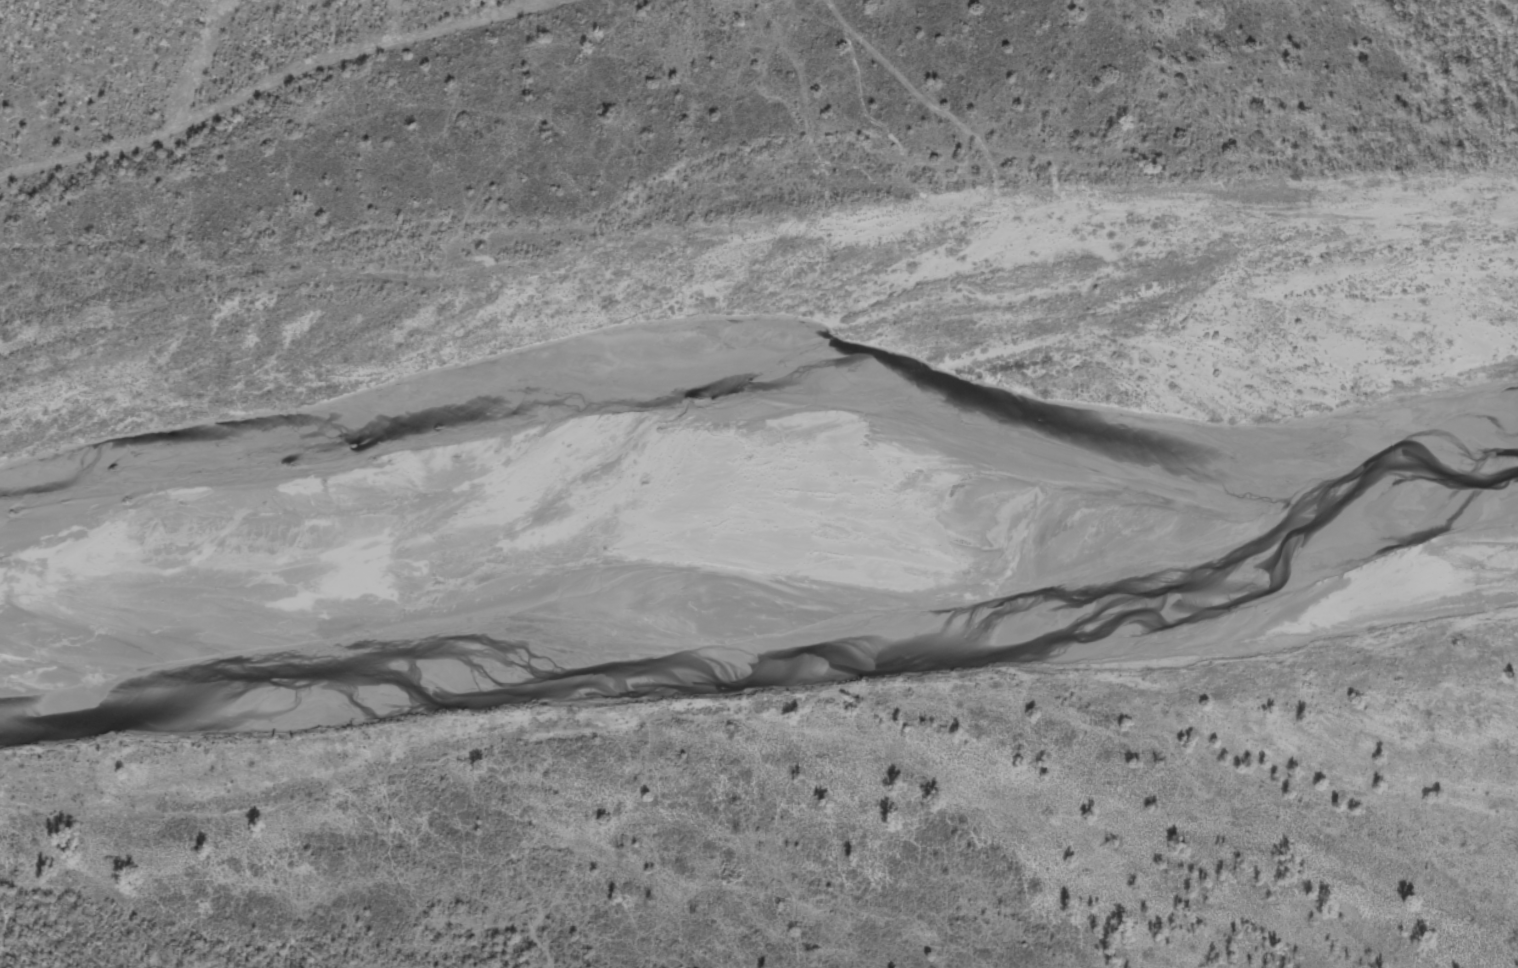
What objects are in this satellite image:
road: (278, 82)
river: (783, 596)

